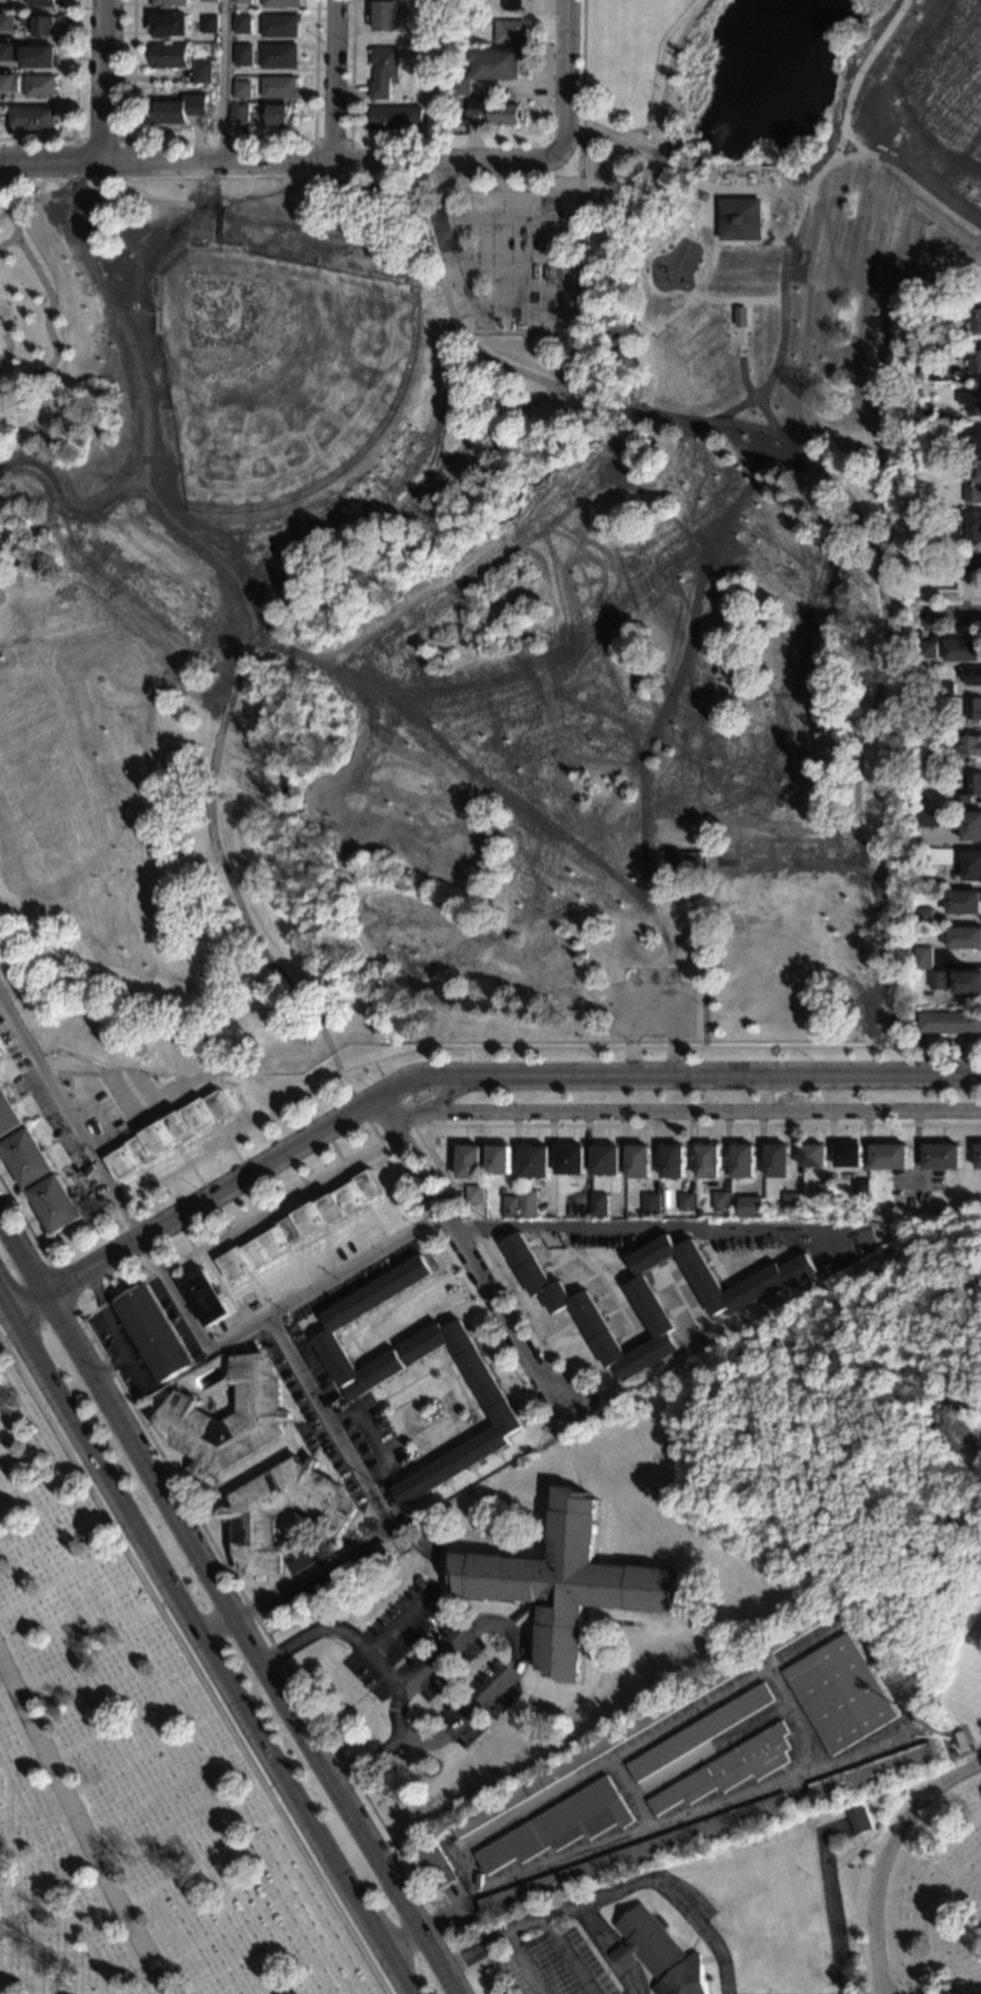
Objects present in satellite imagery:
building: (207, 1)
building: (240, 2)
building: (42, 3)
building: (169, 3)
building: (280, 3)
building: (512, 5)
building: (385, 15)
building: (6, 22)
building: (206, 24)
building: (42, 25)
building: (240, 25)
building: (278, 25)
building: (168, 26)
building: (509, 32)
building: (6, 52)
building: (241, 55)
building: (167, 56)
building: (277, 56)
building: (38, 57)
building: (496, 63)
road: (130, 69)
road: (583, 69)
road: (313, 70)
road: (350, 70)
building: (383, 71)
building: (200, 72)
road: (570, 76)
road: (667, 76)
road: (105, 80)
road: (222, 80)
road: (336, 80)
building: (6, 83)
building: (458, 86)
building: (40, 87)
building: (278, 88)
building: (241, 90)
road: (849, 100)
road: (74, 106)
building: (176, 109)
building: (489, 112)
building: (238, 114)
building: (278, 115)
building: (396, 116)
building: (32, 118)
road: (74, 139)
road: (331, 141)
road: (582, 147)
road: (51, 161)
road: (334, 161)
road: (331, 184)
road: (628, 188)
road: (928, 190)
road: (498, 193)
building: (741, 218)
road: (456, 237)
road: (8, 243)
road: (749, 244)
parking lot: (501, 260)
road: (784, 278)
road: (738, 301)
road: (680, 307)
road: (9, 317)
road: (50, 318)
building: (975, 320)
road: (9, 346)
building: (974, 362)
park: (279, 376)
road: (604, 400)
building: (971, 403)
road: (764, 413)
building: (925, 415)
road: (144, 432)
building: (970, 443)
building: (972, 485)
building: (919, 498)
road: (67, 511)
building: (973, 526)
building: (968, 567)
park: (486, 577)
road: (948, 598)
road: (264, 600)
road: (901, 600)
road: (953, 615)
road: (925, 627)
road: (953, 632)
building: (927, 650)
building: (961, 650)
building: (971, 675)
building: (945, 688)
building: (973, 709)
building: (929, 726)
building: (970, 746)
building: (927, 763)
building: (970, 789)
building: (923, 801)
building: (927, 819)
building: (971, 825)
building: (688, 863)
building: (972, 866)
building: (920, 872)
road: (689, 901)
building: (964, 903)
building: (923, 916)
building: (964, 938)
road: (703, 949)
building: (922, 959)
building: (956, 981)
road: (649, 990)
parking lot: (649, 1002)
building: (949, 1023)
road: (328, 1046)
road: (444, 1047)
building: (1, 1051)
road: (377, 1068)
road: (675, 1077)
road: (441, 1095)
road: (360, 1107)
road: (406, 1112)
building: (8, 1113)
road: (679, 1113)
road: (696, 1125)
building: (170, 1134)
road: (225, 1142)
building: (812, 1156)
building: (847, 1156)
building: (940, 1156)
building: (977, 1156)
building: (28, 1157)
building: (887, 1157)
building: (498, 1160)
building: (571, 1160)
building: (605, 1160)
building: (673, 1160)
building: (536, 1161)
building: (639, 1161)
building: (706, 1161)
building: (741, 1161)
building: (776, 1161)
road: (342, 1162)
building: (469, 1162)
road: (189, 1165)
road: (397, 1172)
road: (245, 1174)
road: (303, 1183)
road: (151, 1188)
building: (860, 1189)
building: (824, 1193)
road: (211, 1194)
building: (474, 1195)
road: (208, 1197)
building: (719, 1201)
building: (685, 1202)
building: (789, 1202)
building: (56, 1204)
building: (528, 1204)
building: (649, 1204)
building: (597, 1205)
road: (264, 1207)
building: (511, 1208)
building: (749, 1208)
road: (171, 1218)
road: (232, 1227)
building: (301, 1227)
road: (371, 1227)
road: (226, 1229)
road: (646, 1230)
road: (698, 1236)
road: (562, 1238)
road: (187, 1240)
road: (751, 1240)
road: (790, 1243)
road: (313, 1244)
road: (339, 1246)
road: (24, 1247)
road: (469, 1254)
road: (757, 1257)
road: (44, 1258)
road: (824, 1258)
road: (301, 1269)
road: (498, 1272)
building: (786, 1274)
road: (746, 1275)
road: (268, 1287)
road: (172, 1290)
road: (610, 1292)
building: (204, 1298)
road: (28, 1299)
road: (4, 1302)
road: (684, 1304)
building: (252, 1305)
building: (601, 1313)
road: (62, 1315)
building: (340, 1321)
road: (109, 1324)
building: (153, 1334)
road: (356, 1346)
parking lot: (124, 1353)
road: (687, 1355)
road: (227, 1356)
road: (406, 1360)
road: (209, 1364)
road: (132, 1369)
parking lot: (316, 1372)
building: (354, 1390)
road: (463, 1390)
building: (495, 1394)
road: (530, 1398)
road: (367, 1408)
road: (227, 1414)
road: (312, 1415)
building: (229, 1418)
road: (297, 1420)
road: (373, 1439)
road: (326, 1440)
road: (315, 1452)
road: (401, 1466)
road: (215, 1489)
road: (200, 1496)
building: (284, 1513)
road: (380, 1514)
road: (465, 1531)
road: (192, 1536)
road: (213, 1543)
building: (311, 1556)
building: (369, 1558)
road: (426, 1560)
road: (454, 1565)
road: (288, 1566)
park: (913, 1571)
building: (569, 1583)
building: (410, 1596)
parking lot: (393, 1615)
building: (808, 1623)
road: (404, 1627)
road: (344, 1630)
road: (420, 1641)
parking lot: (422, 1643)
road: (208, 1651)
road: (193, 1665)
road: (393, 1671)
parking lot: (450, 1671)
road: (511, 1672)
parking lot: (367, 1678)
road: (380, 1679)
parking lot: (468, 1692)
building: (842, 1692)
road: (531, 1702)
road: (906, 1706)
road: (344, 1708)
parking lot: (484, 1716)
road: (492, 1722)
building: (700, 1732)
building: (961, 1740)
building: (603, 1744)
building: (730, 1768)
building: (875, 1771)
park: (128, 1775)
building: (859, 1820)
building: (559, 1825)
road: (78, 1831)
building: (633, 1855)
road: (887, 1857)
building: (437, 1865)
road: (393, 1890)
road: (609, 1897)
road: (833, 1901)
road: (602, 1952)
building: (659, 1954)
road: (566, 1957)
parking lot: (587, 1963)
road: (522, 1965)
parking lot: (550, 1968)
parking lot: (516, 1974)

